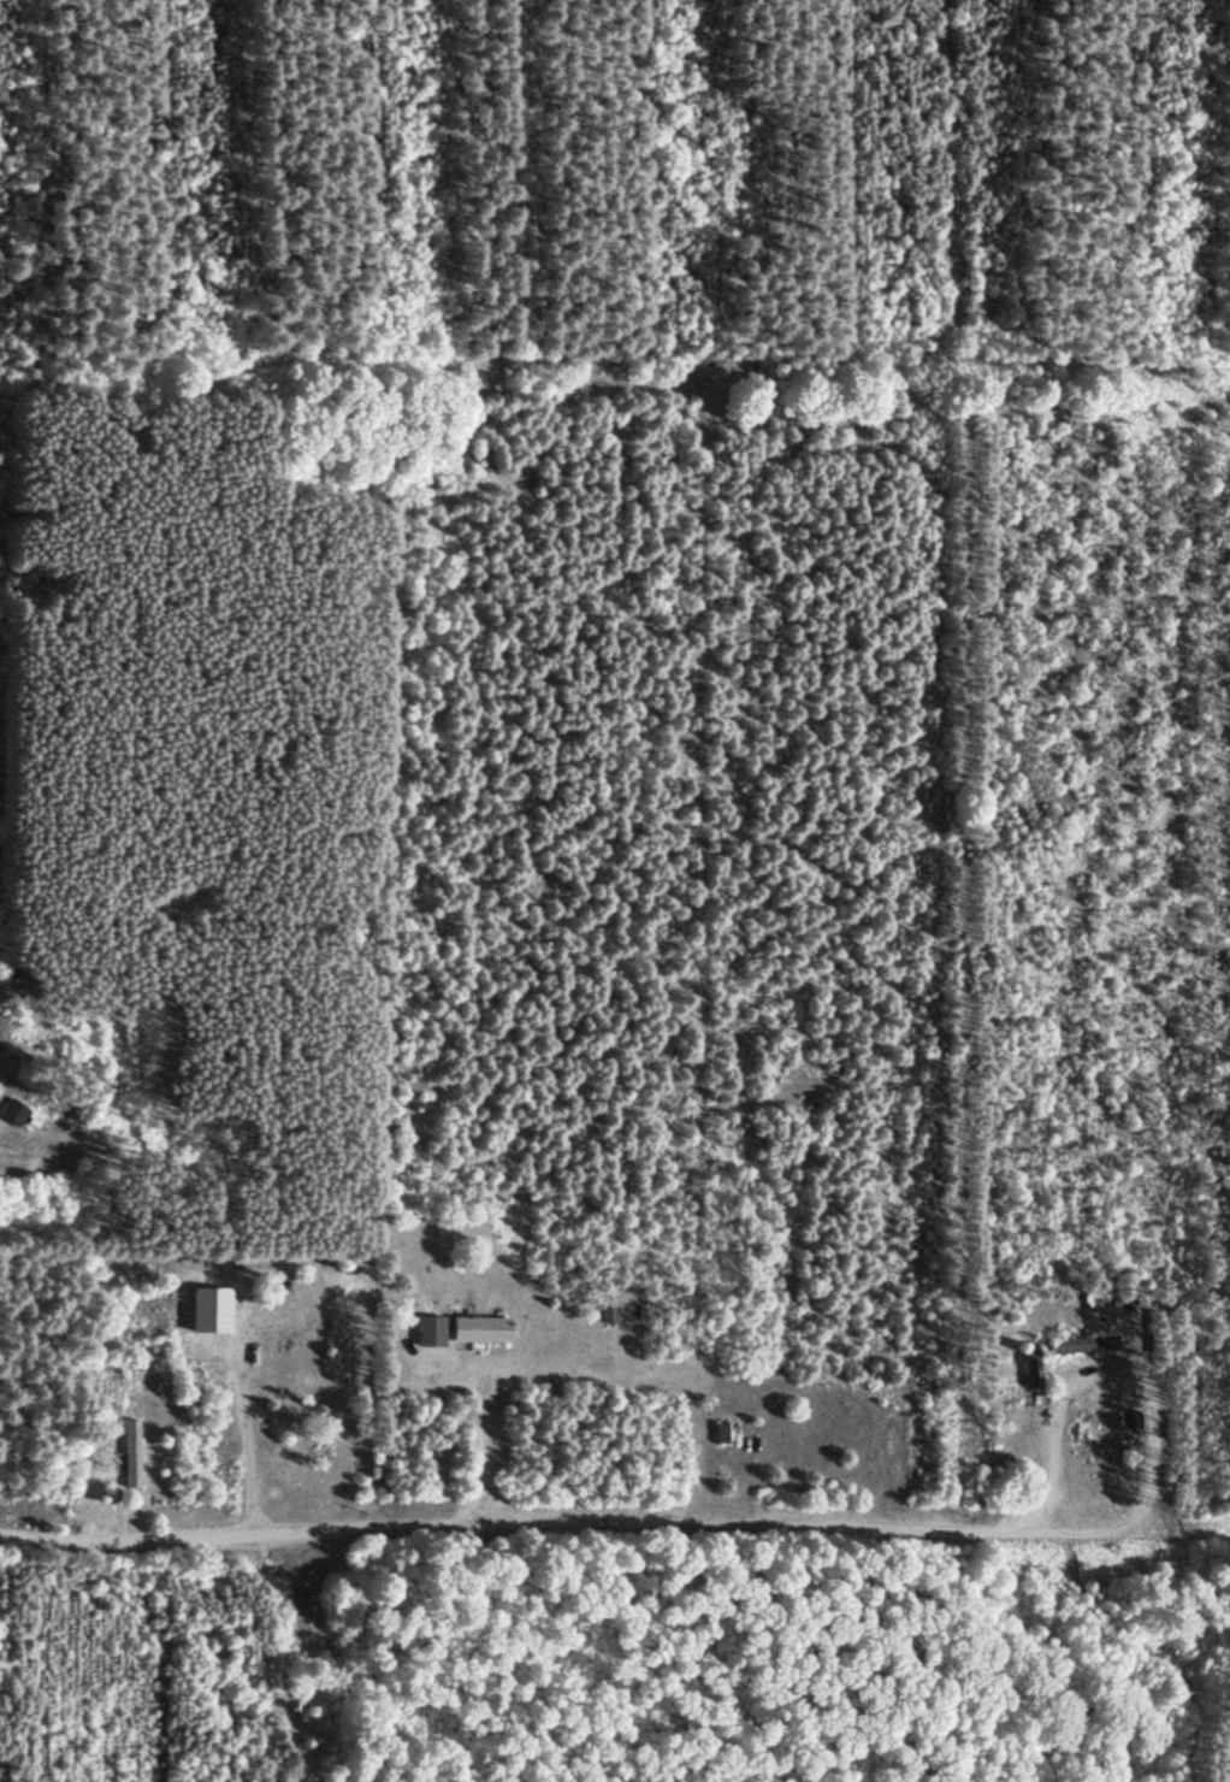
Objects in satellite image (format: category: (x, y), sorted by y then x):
road: (962, 189)
road: (614, 376)
building: (11, 1111)
building: (462, 1328)
building: (1083, 1344)
building: (722, 1430)
building: (131, 1452)
road: (1172, 1534)
road: (557, 1535)

